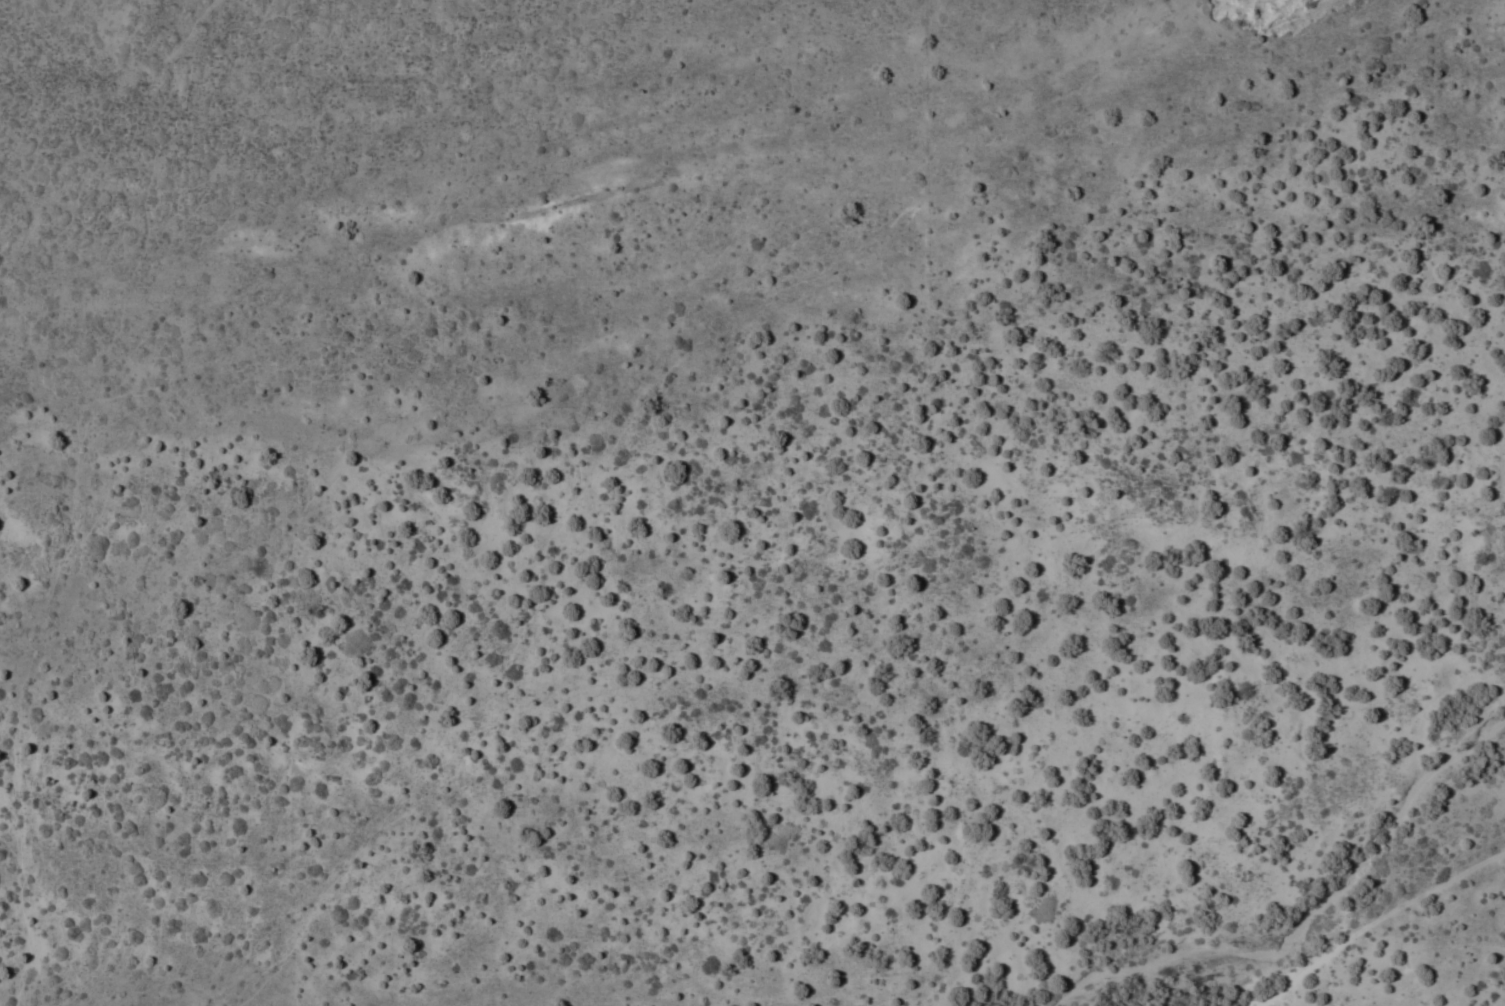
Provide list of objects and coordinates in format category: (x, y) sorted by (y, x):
road: (1396, 940)

